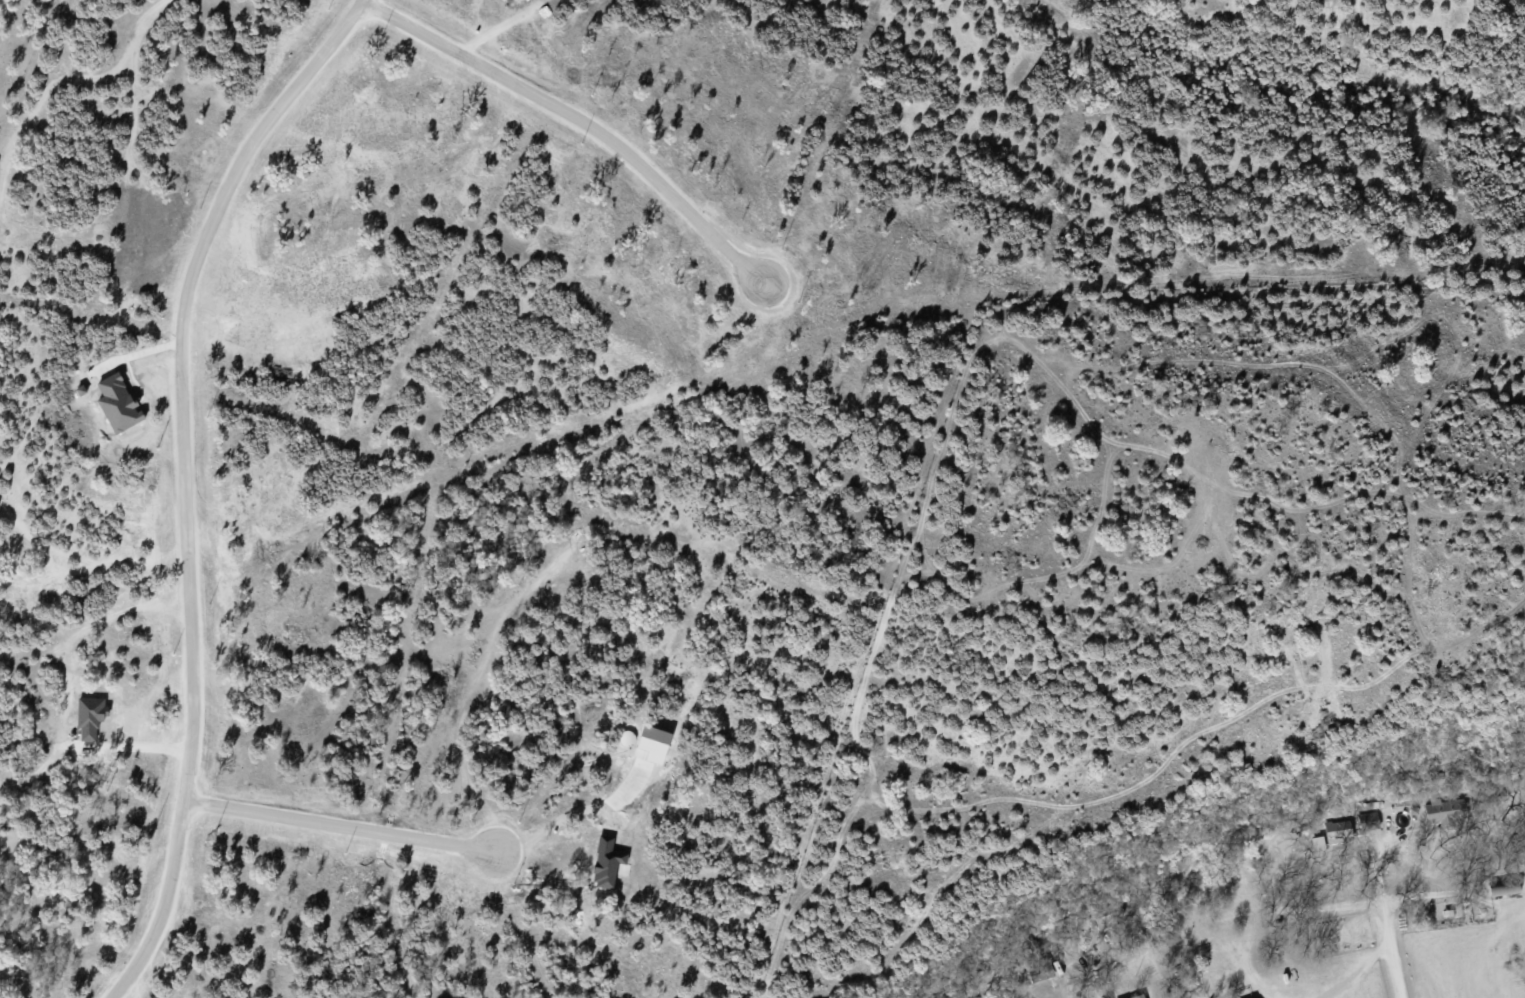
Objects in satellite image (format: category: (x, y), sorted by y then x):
road: (578, 121)
road: (184, 480)
building: (1447, 810)
building: (1370, 818)
road: (343, 826)
building: (1340, 829)
road: (1386, 923)
building: (1140, 996)

